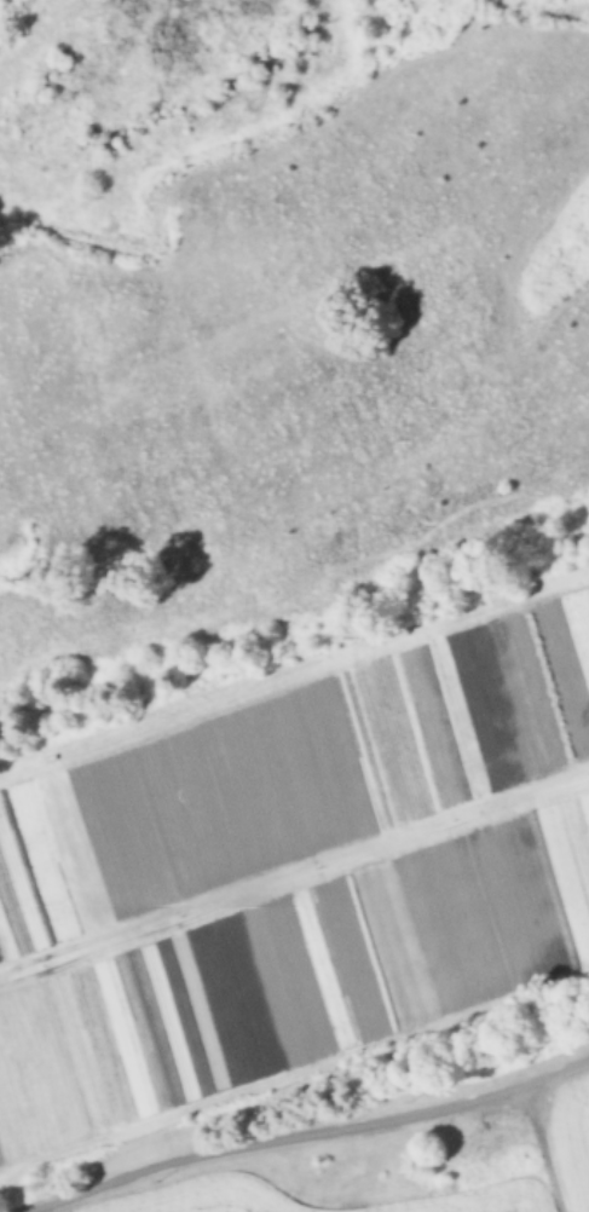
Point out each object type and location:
park: (285, 556)
building: (480, 930)
road: (310, 1135)
building: (474, 1149)
crop: (429, 1159)
building: (416, 1181)

